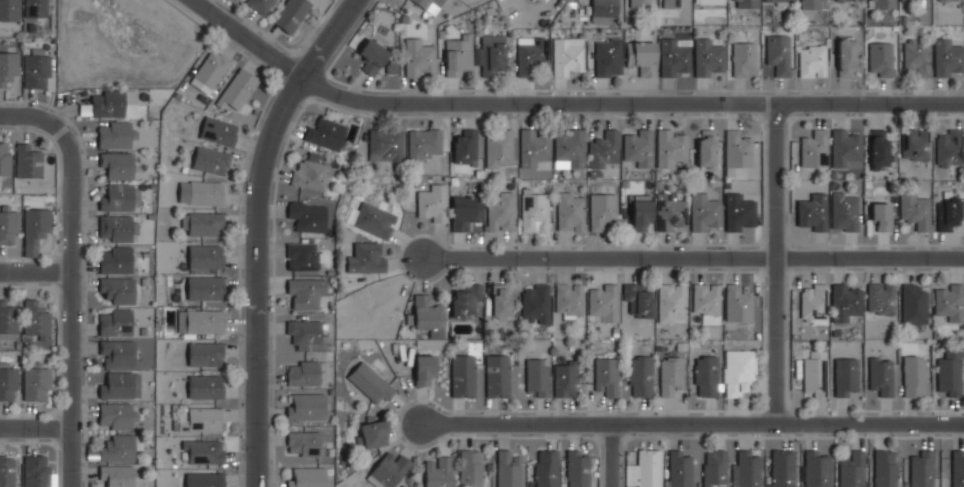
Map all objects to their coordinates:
building: (775, 0)
building: (848, 0)
building: (950, 0)
building: (913, 1)
building: (710, 2)
building: (641, 3)
building: (670, 3)
building: (745, 3)
building: (882, 3)
building: (439, 4)
building: (812, 4)
building: (259, 5)
building: (35, 8)
building: (9, 9)
building: (603, 10)
building: (291, 14)
building: (778, 52)
building: (459, 53)
building: (491, 53)
building: (530, 54)
building: (372, 55)
building: (674, 55)
building: (917, 55)
building: (568, 56)
building: (642, 56)
building: (846, 56)
building: (947, 56)
building: (419, 57)
building: (608, 57)
building: (708, 57)
building: (743, 58)
building: (881, 58)
building: (812, 60)
building: (8, 66)
building: (212, 67)
building: (36, 69)
building: (238, 89)
road: (563, 102)
building: (107, 104)
road: (34, 118)
building: (219, 130)
building: (326, 132)
building: (115, 135)
building: (915, 143)
building: (386, 144)
building: (424, 144)
building: (845, 145)
building: (465, 146)
building: (639, 146)
building: (669, 146)
building: (949, 146)
building: (498, 147)
building: (535, 147)
building: (569, 147)
building: (603, 147)
building: (706, 147)
building: (879, 147)
building: (737, 148)
building: (815, 148)
building: (5, 158)
building: (211, 160)
building: (28, 161)
building: (117, 165)
building: (310, 174)
building: (201, 192)
building: (121, 196)
building: (433, 203)
building: (914, 209)
building: (571, 210)
building: (602, 210)
building: (465, 211)
building: (535, 211)
building: (671, 211)
building: (739, 211)
building: (844, 211)
building: (501, 212)
building: (642, 212)
building: (705, 212)
building: (812, 212)
building: (948, 214)
building: (307, 215)
building: (881, 215)
building: (372, 218)
building: (203, 222)
building: (8, 224)
building: (118, 227)
building: (35, 228)
road: (256, 230)
building: (302, 255)
road: (692, 255)
building: (206, 256)
building: (367, 257)
building: (115, 258)
road: (779, 261)
road: (33, 268)
building: (205, 287)
building: (118, 288)
building: (306, 291)
building: (880, 298)
building: (568, 299)
building: (638, 299)
building: (466, 300)
building: (500, 300)
building: (845, 300)
building: (950, 300)
building: (706, 301)
building: (535, 302)
building: (604, 302)
building: (671, 302)
building: (738, 302)
building: (813, 302)
building: (913, 302)
road: (66, 310)
building: (428, 312)
building: (36, 319)
building: (8, 320)
building: (115, 322)
building: (200, 322)
building: (305, 332)
building: (117, 353)
building: (205, 354)
building: (424, 369)
building: (739, 371)
building: (303, 373)
building: (815, 373)
building: (881, 373)
building: (462, 375)
building: (497, 375)
building: (607, 375)
building: (670, 375)
building: (915, 375)
building: (538, 376)
building: (640, 376)
building: (706, 376)
building: (846, 376)
building: (949, 376)
building: (566, 378)
building: (8, 380)
building: (36, 382)
building: (371, 382)
building: (120, 384)
building: (205, 386)
building: (306, 407)
building: (116, 415)
building: (200, 420)
road: (34, 423)
road: (692, 423)
building: (374, 434)
building: (304, 443)
building: (117, 447)
building: (203, 451)
road: (608, 456)
building: (472, 468)
building: (546, 468)
building: (648, 468)
building: (679, 468)
building: (715, 468)
building: (782, 468)
building: (817, 468)
building: (885, 468)
building: (922, 468)
building: (958, 468)
building: (507, 469)
building: (578, 469)
building: (746, 469)
building: (852, 469)
building: (7, 470)
building: (37, 470)
building: (389, 470)
building: (439, 471)
building: (117, 475)
building: (307, 476)
building: (205, 479)

